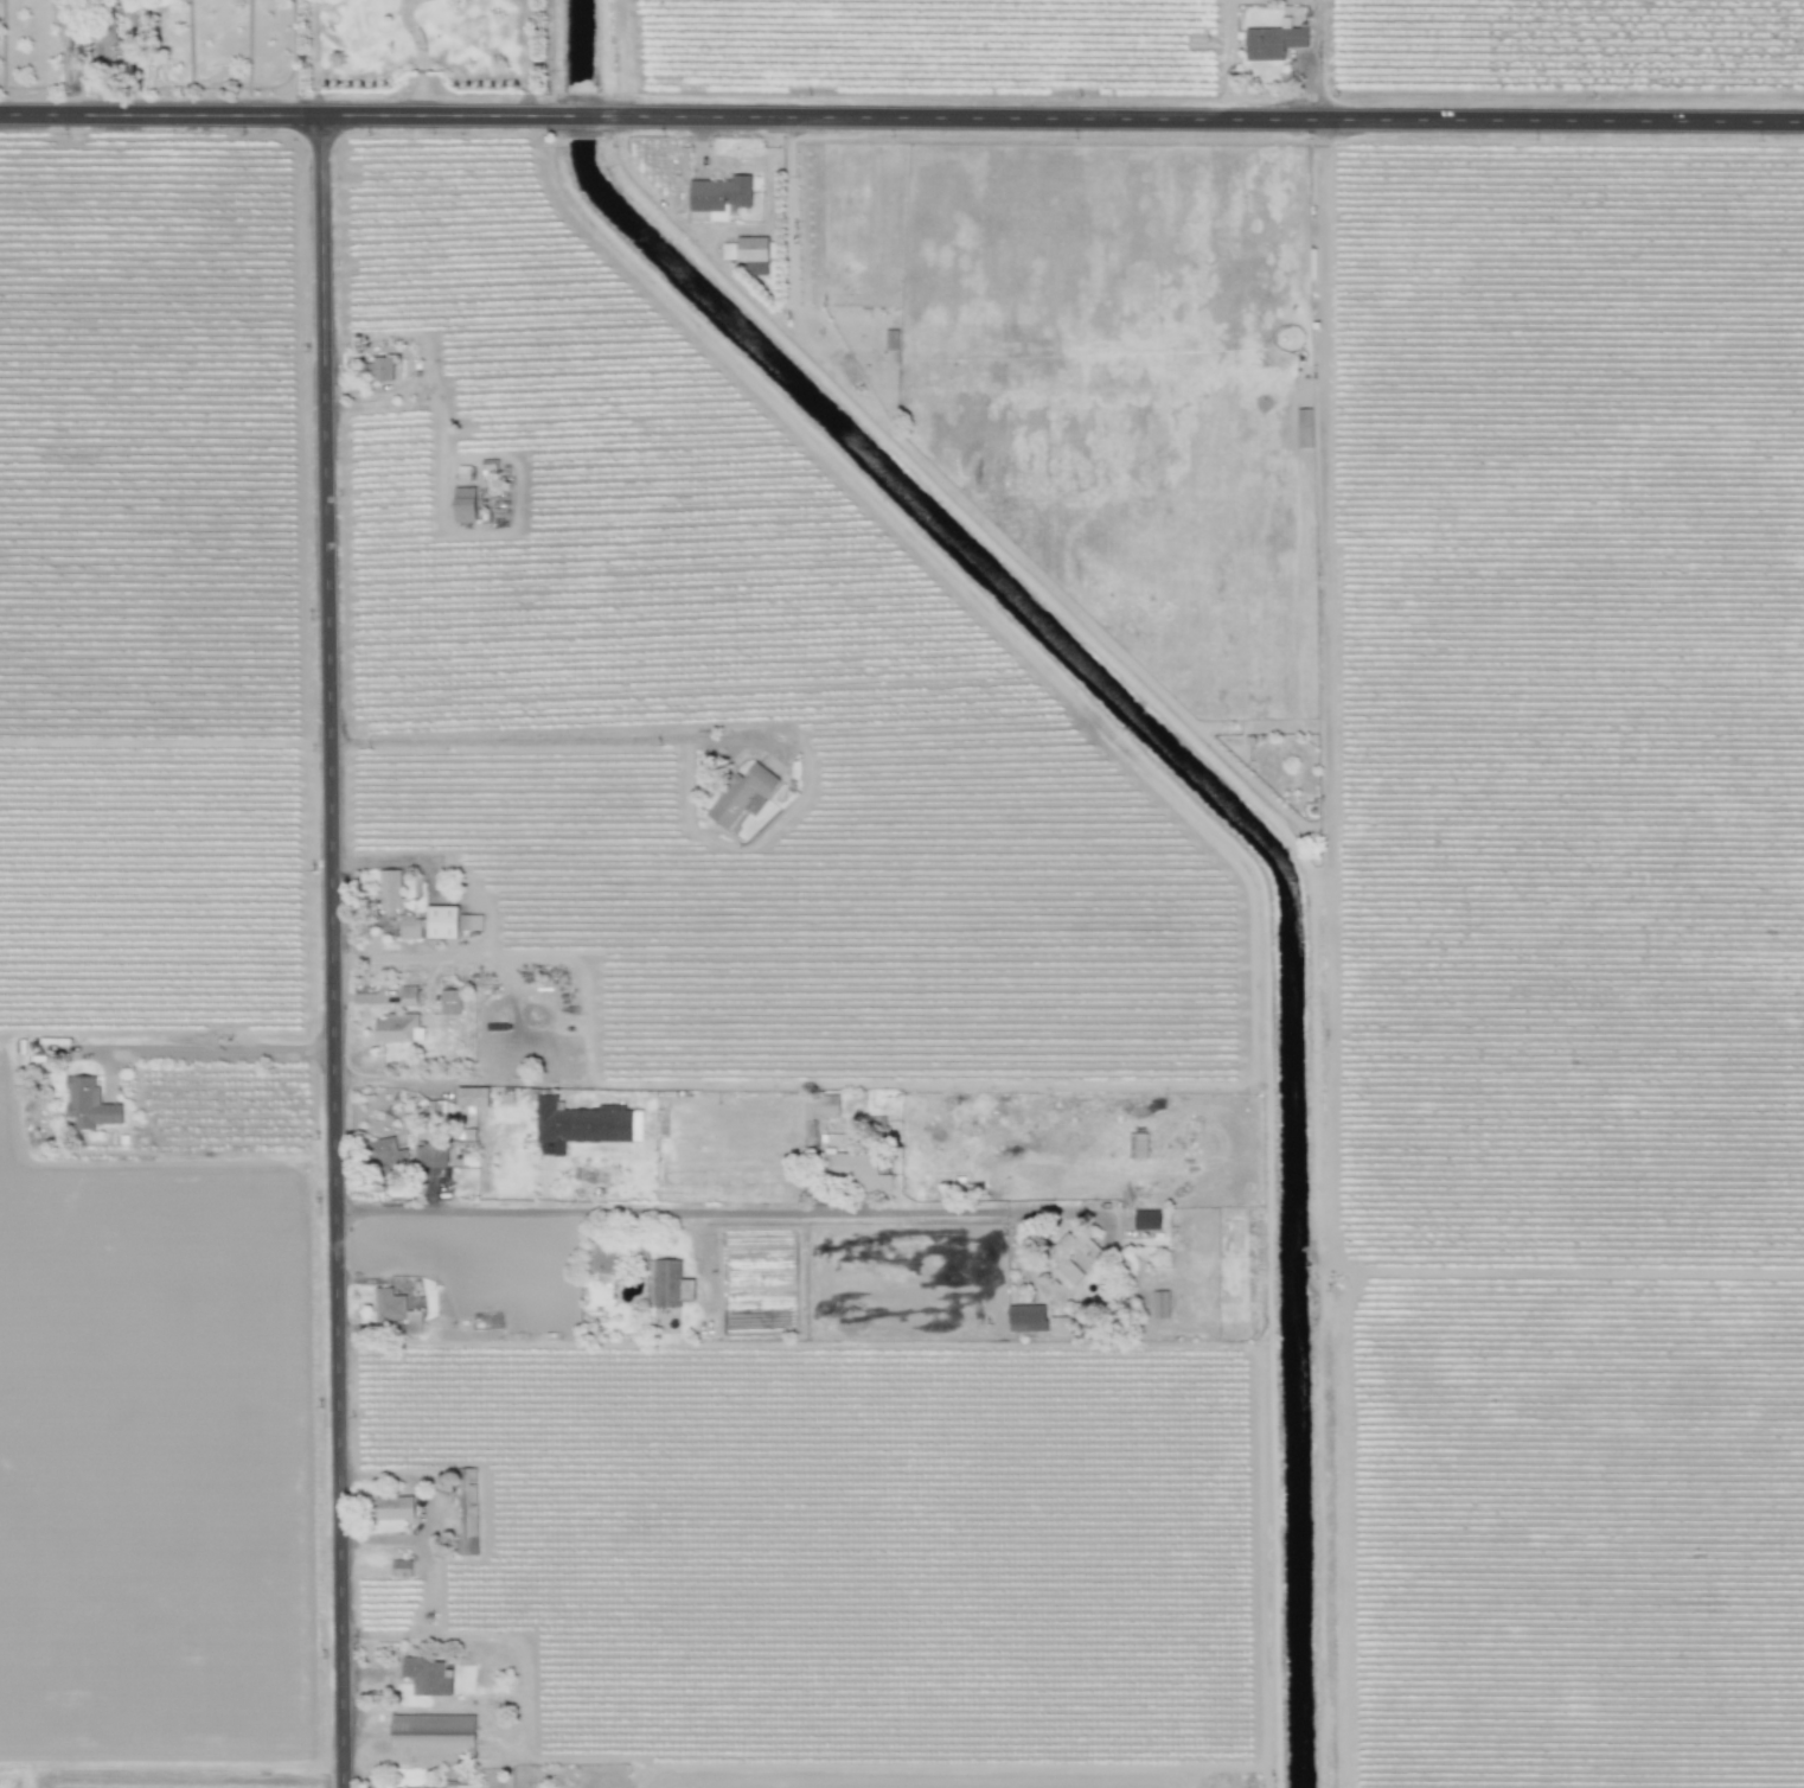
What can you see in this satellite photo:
building: (1272, 41)
building: (103, 47)
road: (420, 56)
road: (1313, 59)
road: (902, 116)
building: (717, 197)
building: (753, 254)
building: (378, 369)
building: (1303, 428)
building: (463, 504)
road: (535, 741)
building: (741, 794)
building: (388, 892)
road: (486, 917)
building: (440, 921)
building: (469, 922)
building: (408, 927)
road: (332, 951)
building: (407, 994)
building: (449, 1002)
building: (397, 1028)
road: (223, 1051)
road: (394, 1083)
building: (472, 1096)
building: (89, 1104)
building: (818, 1110)
building: (434, 1111)
building: (580, 1124)
building: (384, 1152)
building: (429, 1156)
building: (857, 1170)
road: (695, 1217)
building: (1145, 1219)
building: (1057, 1256)
building: (601, 1264)
building: (670, 1284)
building: (1159, 1304)
building: (395, 1309)
building: (1025, 1317)
building: (1058, 1326)
building: (394, 1508)
building: (465, 1508)
building: (401, 1569)
building: (426, 1675)
building: (431, 1735)
building: (460, 1784)
building: (398, 1787)

